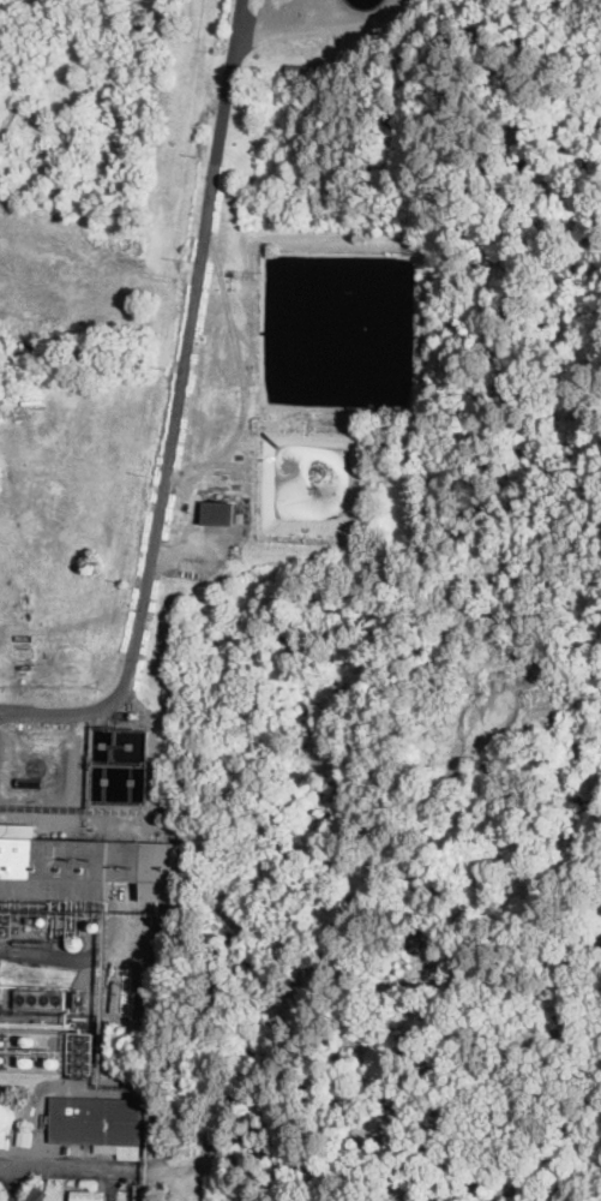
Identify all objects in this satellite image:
road: (176, 410)
building: (220, 513)
building: (61, 867)
building: (107, 906)
building: (41, 998)
building: (80, 1056)
building: (97, 1121)
building: (30, 1135)
building: (4, 1140)
building: (60, 1147)
road: (53, 1167)
building: (36, 1194)
building: (88, 1195)

